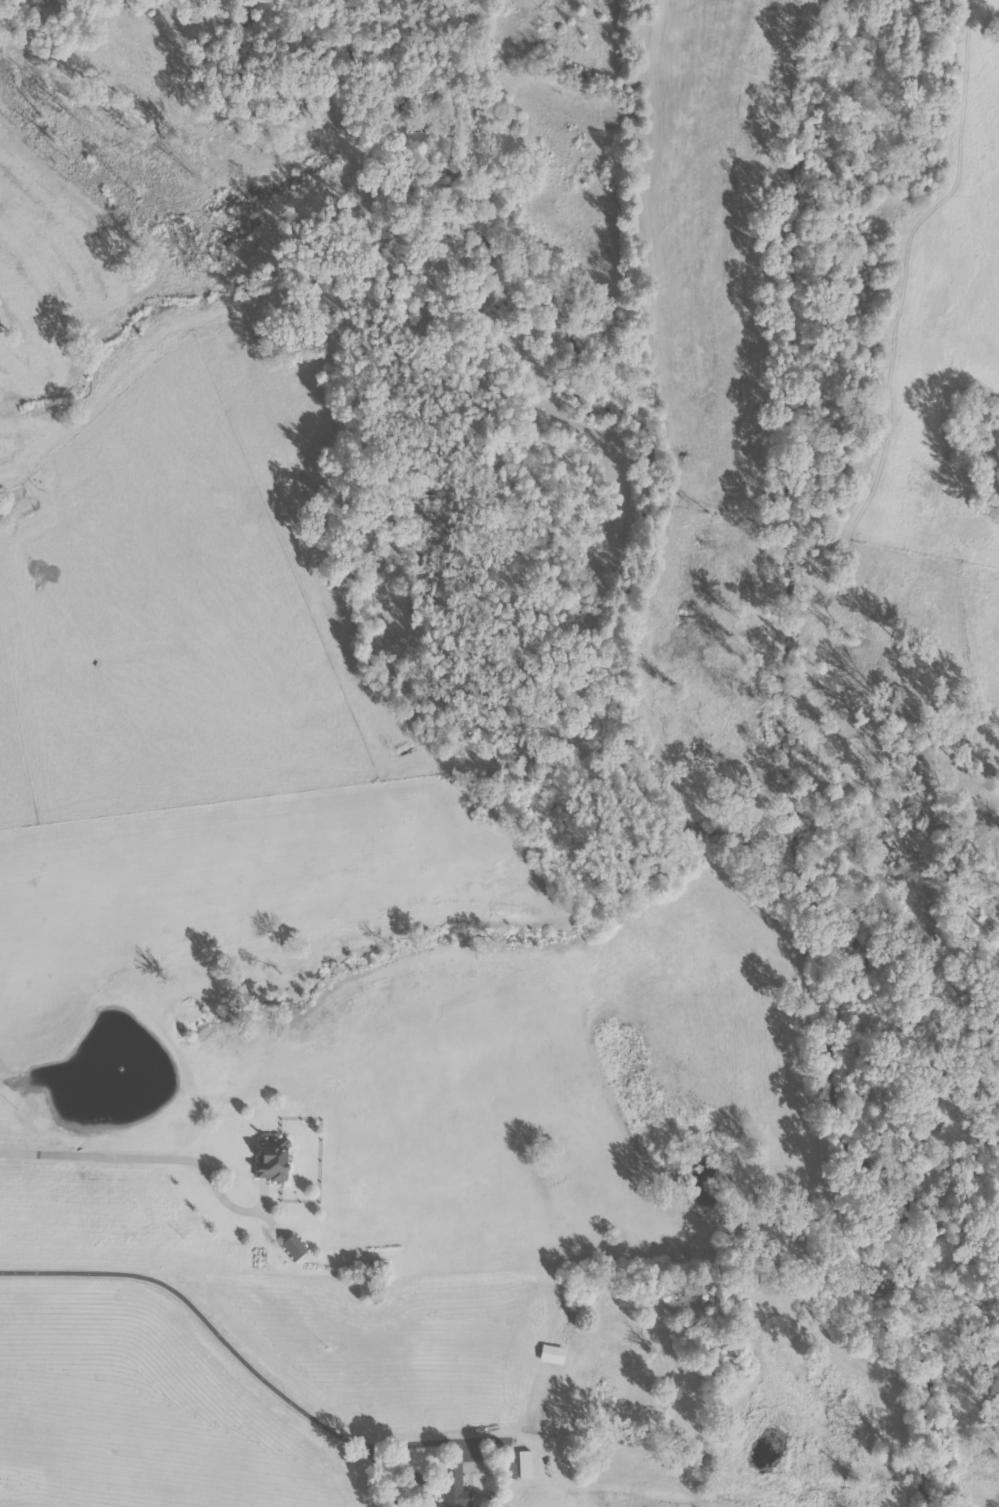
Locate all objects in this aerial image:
building: (273, 1160)
building: (294, 1247)
building: (552, 1354)
building: (510, 1470)
building: (455, 1485)

